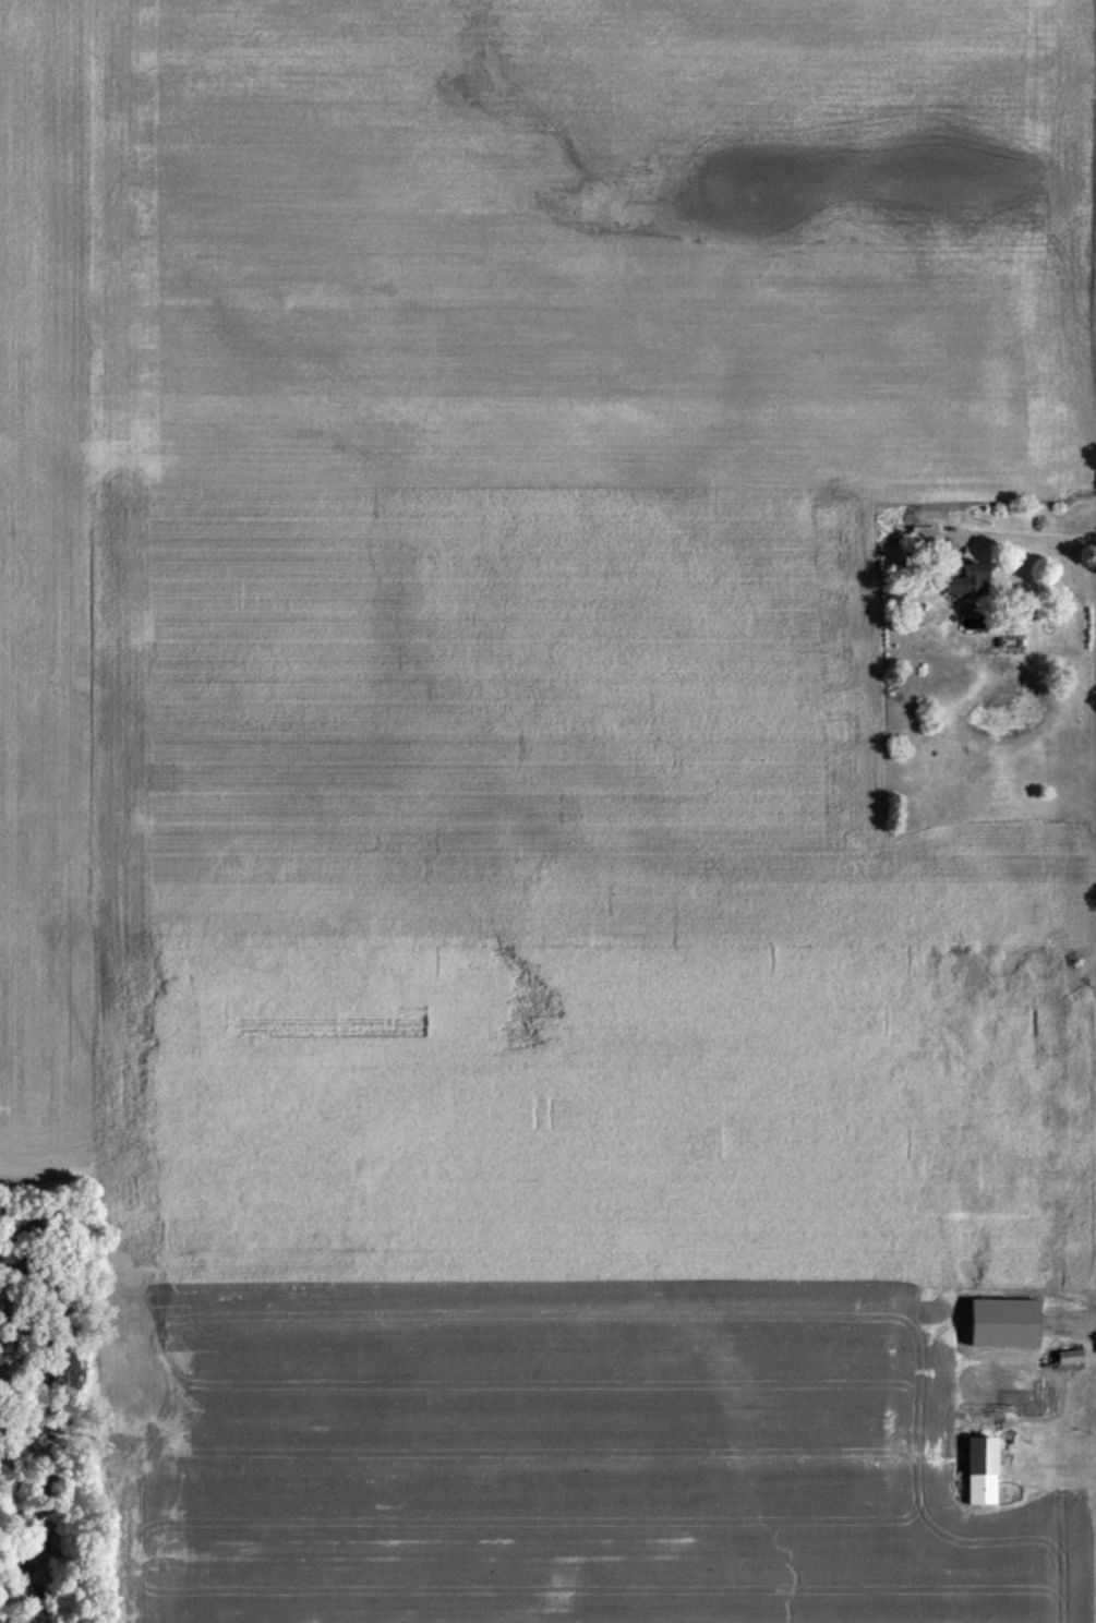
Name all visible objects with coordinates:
road: (1025, 533)
building: (922, 542)
building: (963, 586)
building: (1067, 1360)
building: (978, 1474)

